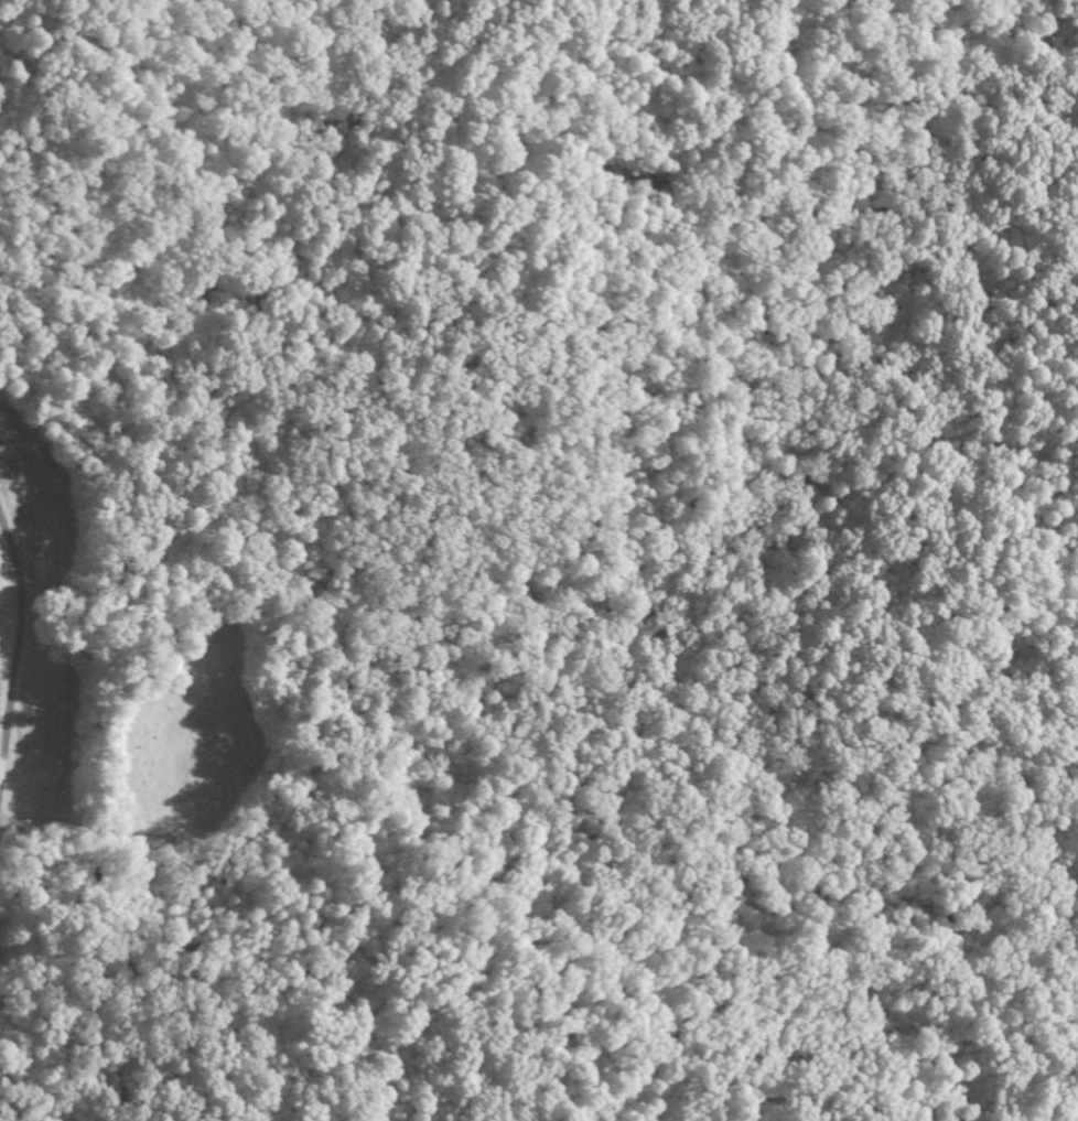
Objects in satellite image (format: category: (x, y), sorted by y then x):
road: (18, 645)

